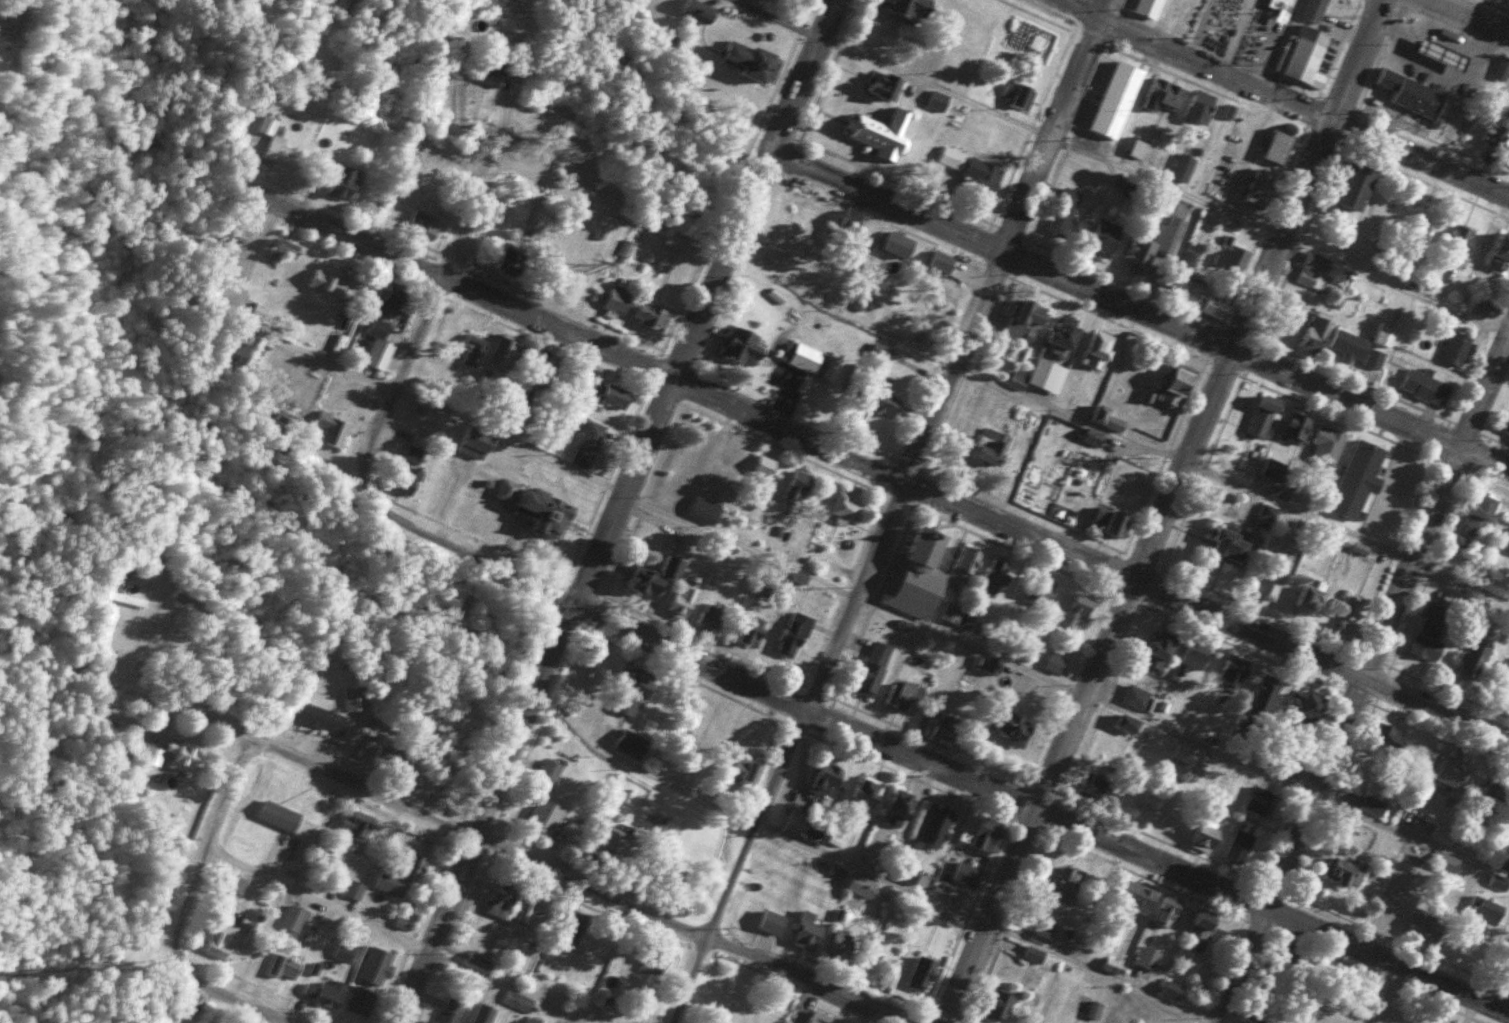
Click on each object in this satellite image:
building: (908, 7)
building: (1150, 8)
building: (1315, 10)
building: (970, 13)
road: (1469, 17)
building: (1304, 53)
building: (1443, 53)
building: (752, 58)
building: (490, 71)
building: (1501, 71)
road: (66, 86)
road: (268, 87)
building: (1019, 93)
building: (1412, 93)
building: (1165, 94)
building: (1508, 96)
road: (1280, 98)
building: (1118, 100)
building: (938, 101)
building: (1201, 105)
building: (883, 133)
building: (275, 142)
building: (1279, 145)
road: (238, 147)
building: (1136, 147)
building: (552, 154)
building: (1184, 166)
building: (973, 169)
building: (344, 181)
building: (1356, 186)
road: (1163, 187)
building: (1260, 187)
building: (1066, 207)
road: (474, 214)
building: (424, 223)
building: (1106, 239)
building: (1458, 242)
building: (899, 244)
building: (284, 248)
building: (1153, 250)
building: (1500, 253)
building: (516, 254)
building: (1232, 257)
building: (942, 262)
building: (1318, 270)
building: (333, 281)
building: (395, 296)
building: (618, 298)
building: (1205, 299)
building: (1481, 306)
road: (1140, 311)
building: (652, 314)
building: (1027, 320)
building: (1318, 326)
building: (379, 329)
building: (1385, 334)
building: (1065, 335)
building: (746, 347)
building: (1457, 347)
building: (504, 348)
building: (1358, 348)
building: (1099, 349)
building: (239, 353)
building: (882, 354)
road: (311, 355)
building: (810, 360)
building: (542, 371)
building: (1048, 375)
building: (1177, 385)
building: (1426, 387)
building: (609, 393)
building: (886, 402)
building: (1264, 416)
building: (1507, 424)
building: (1296, 427)
building: (331, 429)
building: (475, 442)
building: (588, 443)
building: (1326, 446)
building: (992, 447)
building: (735, 450)
building: (414, 454)
road: (877, 464)
building: (765, 466)
building: (407, 479)
building: (1358, 479)
building: (799, 487)
road: (1230, 488)
building: (846, 506)
building: (705, 510)
building: (546, 511)
road: (617, 511)
road: (892, 511)
road: (1164, 511)
building: (1481, 512)
building: (1113, 521)
building: (1227, 545)
building: (123, 572)
building: (926, 573)
building: (997, 575)
building: (654, 576)
building: (1271, 582)
building: (759, 584)
building: (1311, 595)
building: (124, 598)
building: (683, 599)
building: (188, 603)
building: (1076, 614)
building: (1349, 614)
building: (711, 616)
building: (752, 630)
building: (175, 632)
building: (795, 634)
road: (949, 638)
building: (1428, 638)
building: (1159, 652)
building: (1194, 657)
building: (1472, 658)
building: (1056, 663)
road: (138, 666)
building: (874, 668)
building: (1233, 672)
road: (1364, 679)
building: (1506, 687)
building: (635, 692)
building: (900, 694)
building: (1266, 694)
building: (1136, 697)
building: (353, 698)
building: (1307, 705)
building: (319, 717)
building: (1010, 724)
building: (1128, 724)
building: (946, 727)
building: (1388, 742)
building: (632, 743)
building: (1187, 753)
building: (183, 754)
building: (154, 755)
building: (387, 756)
road: (931, 759)
building: (744, 769)
building: (548, 770)
building: (1452, 773)
building: (828, 777)
building: (867, 792)
building: (1261, 796)
building: (1373, 805)
building: (899, 810)
building: (279, 815)
building: (545, 816)
building: (796, 821)
building: (357, 825)
building: (937, 826)
building: (986, 836)
building: (1206, 837)
building: (615, 838)
road: (204, 845)
building: (1239, 846)
road: (549, 867)
building: (1343, 869)
building: (401, 872)
building: (909, 874)
building: (234, 882)
building: (862, 884)
building: (1066, 884)
building: (354, 888)
road: (919, 893)
building: (1140, 895)
building: (501, 899)
building: (531, 909)
building: (1486, 910)
building: (1167, 911)
building: (934, 912)
building: (293, 917)
building: (1202, 928)
building: (807, 931)
road: (395, 938)
building: (221, 943)
building: (842, 944)
building: (344, 950)
building: (1035, 954)
building: (1149, 958)
building: (480, 960)
building: (377, 965)
building: (283, 966)
building: (923, 973)
road: (1500, 983)
building: (1172, 990)
building: (330, 992)
road: (221, 994)
building: (361, 1000)
building: (518, 1000)
building: (1000, 1006)
building: (450, 1011)
building: (482, 1013)
building: (820, 1017)

